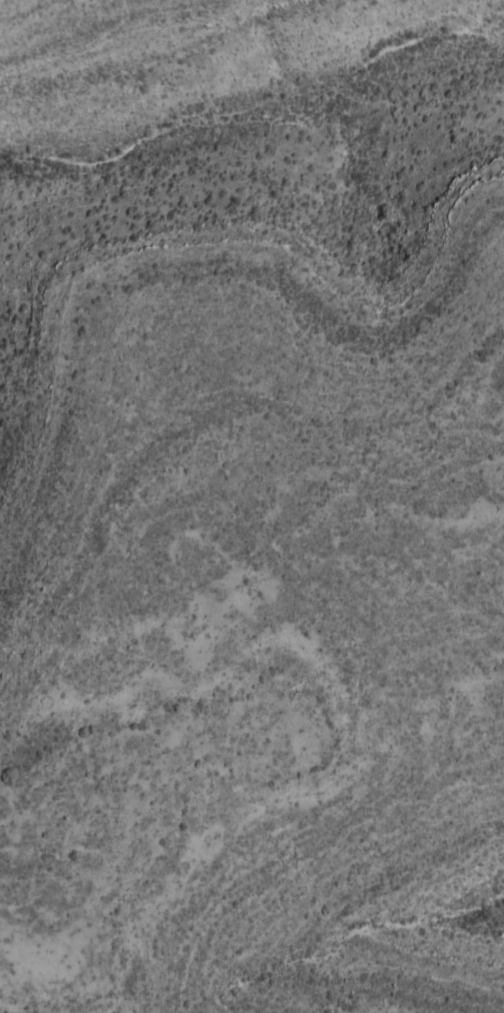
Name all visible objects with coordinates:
park: (220, 268)

